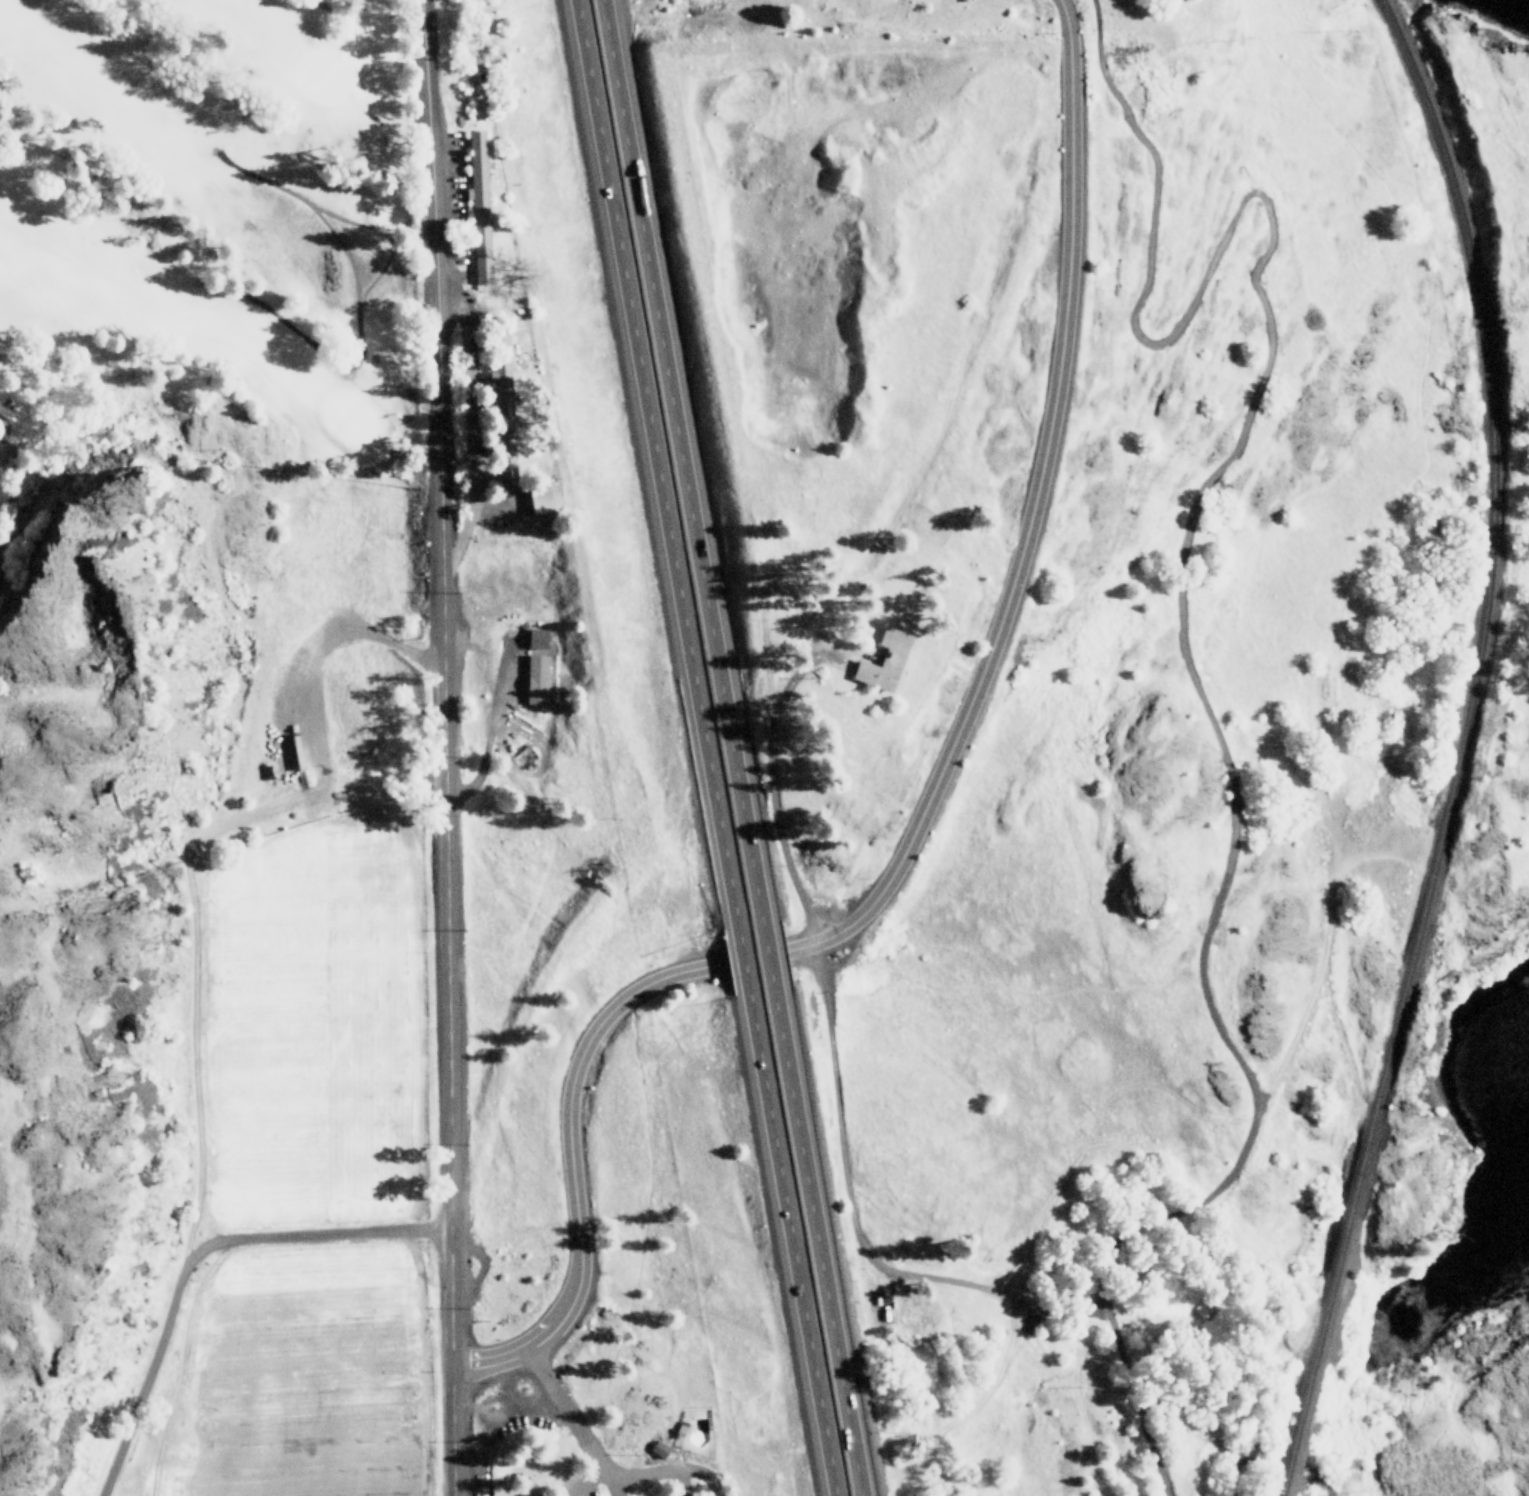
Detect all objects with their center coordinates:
building: (478, 205)
park: (214, 251)
road: (1069, 257)
road: (681, 460)
road: (649, 464)
building: (544, 498)
road: (1177, 599)
building: (537, 638)
building: (883, 661)
building: (535, 679)
road: (950, 743)
road: (445, 747)
railway: (1460, 748)
road: (765, 954)
road: (770, 954)
road: (738, 960)
road: (572, 1166)
road: (819, 1241)
road: (788, 1243)
road: (194, 1253)
road: (566, 1412)
building: (659, 1449)
road: (1236, 1468)
road: (666, 1470)
road: (1327, 1479)
road: (589, 1487)
road: (605, 1487)
building: (500, 1489)

